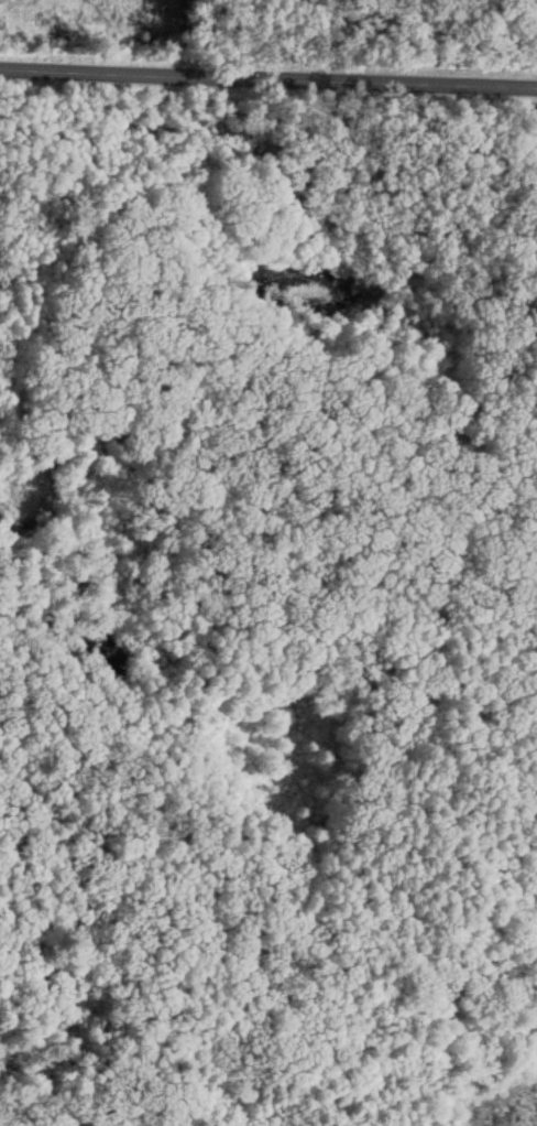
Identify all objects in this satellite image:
road: (533, 17)
road: (268, 75)
road: (429, 596)

